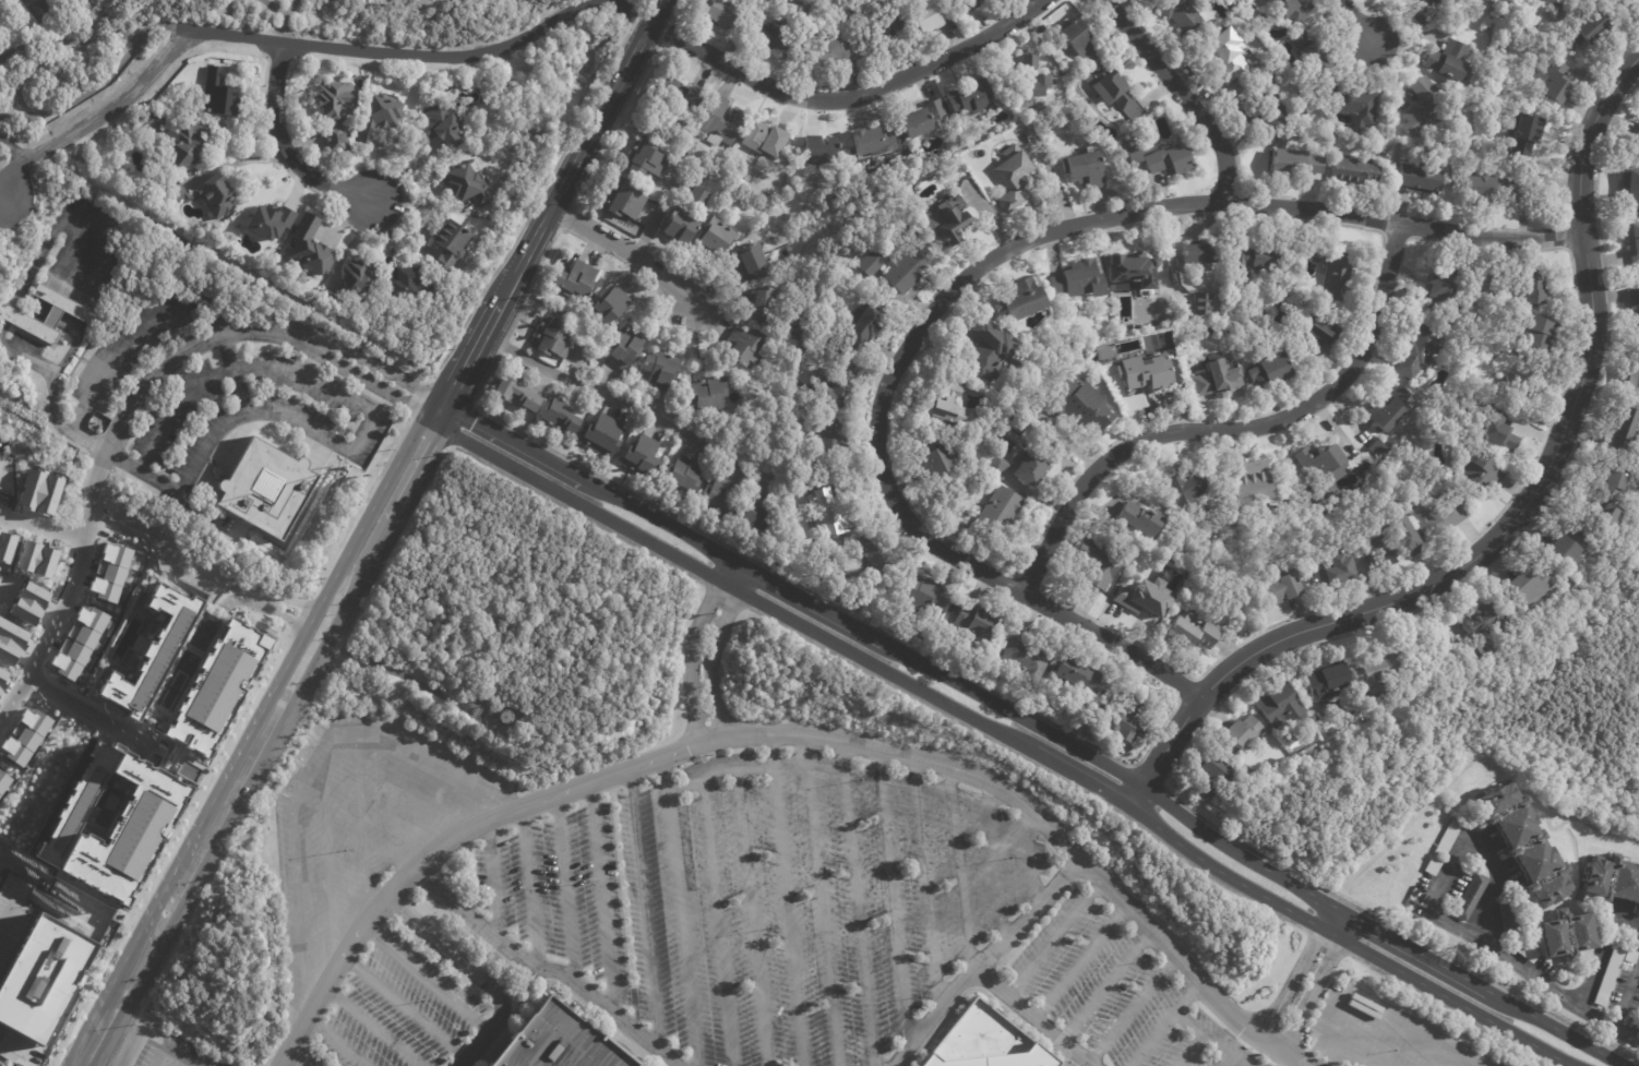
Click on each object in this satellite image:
building: (1431, 2)
building: (1615, 2)
building: (969, 4)
building: (1283, 9)
building: (718, 13)
building: (929, 15)
building: (1184, 17)
building: (1419, 17)
road: (1356, 20)
building: (876, 24)
building: (887, 24)
road: (165, 28)
building: (1580, 33)
building: (1077, 38)
road: (68, 39)
building: (774, 39)
road: (302, 45)
building: (830, 51)
building: (1224, 53)
building: (1308, 56)
building: (1446, 60)
building: (1028, 77)
building: (1550, 81)
building: (1111, 91)
road: (1181, 92)
road: (82, 94)
building: (223, 95)
road: (848, 95)
building: (967, 96)
building: (685, 99)
building: (1352, 105)
building: (1428, 106)
building: (338, 109)
building: (1268, 110)
building: (383, 118)
building: (918, 118)
building: (723, 122)
building: (147, 127)
building: (443, 127)
building: (1405, 129)
building: (1521, 131)
building: (1636, 136)
building: (768, 139)
building: (864, 141)
building: (189, 144)
road: (284, 145)
road: (13, 149)
building: (1135, 149)
building: (824, 151)
building: (1168, 159)
building: (648, 160)
building: (1305, 165)
building: (1082, 169)
building: (1353, 172)
building: (1419, 178)
building: (1013, 180)
building: (470, 184)
building: (1483, 189)
building: (1629, 189)
road: (2, 193)
building: (208, 195)
building: (702, 199)
building: (627, 200)
road: (560, 206)
building: (272, 221)
building: (943, 224)
building: (682, 227)
building: (717, 238)
building: (1632, 242)
building: (451, 247)
building: (311, 249)
road: (622, 250)
building: (1194, 256)
building: (1248, 256)
building: (751, 264)
building: (893, 265)
building: (1329, 266)
building: (1125, 270)
road: (969, 273)
building: (360, 277)
building: (578, 280)
building: (1075, 280)
building: (407, 282)
building: (1531, 289)
building: (1438, 294)
building: (1020, 298)
building: (331, 302)
building: (1200, 304)
building: (1634, 304)
building: (763, 306)
building: (611, 308)
building: (49, 314)
building: (859, 325)
building: (1321, 330)
building: (798, 332)
building: (552, 338)
building: (1530, 338)
road: (123, 343)
building: (629, 348)
building: (746, 349)
building: (983, 350)
building: (1422, 351)
building: (1268, 370)
building: (662, 372)
building: (1145, 373)
building: (1213, 380)
building: (1630, 380)
building: (1523, 383)
road: (585, 388)
building: (837, 390)
building: (518, 392)
building: (710, 394)
road: (134, 397)
building: (943, 406)
road: (171, 407)
building: (1077, 407)
building: (1390, 408)
parking lot: (247, 411)
building: (561, 416)
road: (1232, 429)
building: (1618, 429)
building: (1495, 433)
building: (607, 434)
building: (823, 434)
road: (359, 436)
building: (1380, 451)
building: (644, 457)
building: (928, 459)
building: (713, 462)
road: (192, 465)
building: (994, 465)
building: (1321, 466)
building: (1024, 467)
building: (685, 475)
building: (1475, 475)
building: (1251, 484)
building: (1607, 486)
building: (267, 488)
building: (1185, 490)
building: (40, 492)
building: (791, 493)
building: (720, 496)
building: (996, 511)
building: (761, 513)
building: (822, 515)
building: (1438, 518)
building: (1602, 518)
road: (1514, 520)
building: (1136, 522)
road: (43, 526)
building: (1393, 542)
building: (7, 547)
building: (1562, 548)
building: (36, 559)
building: (872, 559)
building: (1094, 564)
building: (110, 573)
building: (1332, 573)
building: (1526, 587)
building: (1275, 590)
road: (241, 599)
building: (923, 599)
building: (1147, 601)
building: (28, 603)
road: (265, 603)
building: (1482, 619)
building: (972, 624)
building: (1186, 634)
building: (11, 642)
building: (79, 642)
road: (690, 649)
road: (713, 651)
building: (1476, 652)
building: (1022, 657)
building: (1423, 657)
building: (177, 664)
building: (1376, 672)
building: (3, 678)
building: (1074, 678)
building: (1324, 682)
building: (1279, 705)
road: (87, 711)
building: (491, 711)
road: (1039, 726)
building: (1121, 726)
building: (1241, 731)
road: (259, 734)
road: (781, 734)
road: (1008, 735)
building: (25, 736)
road: (391, 741)
road: (769, 752)
road: (666, 775)
road: (718, 775)
building: (1209, 779)
road: (466, 803)
road: (431, 807)
road: (395, 812)
building: (112, 822)
parking lot: (360, 822)
road: (358, 828)
building: (1451, 831)
building: (1522, 843)
building: (1440, 850)
road: (1455, 850)
road: (1029, 857)
road: (326, 858)
road: (13, 862)
road: (994, 864)
building: (1432, 865)
road: (959, 874)
building: (1612, 881)
road: (492, 882)
road: (926, 884)
road: (528, 887)
road: (565, 895)
building: (1469, 897)
road: (892, 898)
parking lot: (767, 900)
road: (601, 901)
road: (821, 901)
road: (857, 903)
road: (645, 912)
road: (298, 913)
building: (1507, 917)
road: (786, 918)
road: (752, 919)
road: (717, 922)
road: (682, 929)
building: (1566, 935)
road: (1052, 939)
road: (1600, 945)
building: (1630, 950)
building: (1524, 951)
road: (984, 962)
road: (1078, 963)
building: (38, 969)
road: (542, 969)
road: (471, 972)
road: (1293, 972)
building: (1608, 974)
road: (427, 981)
road: (1317, 985)
road: (1103, 987)
road: (1626, 992)
parking lot: (1118, 994)
road: (1563, 994)
road: (1183, 998)
parking lot: (398, 1009)
road: (407, 1009)
road: (1132, 1011)
road: (1033, 1019)
road: (1332, 1021)
road: (372, 1027)
parking lot: (1380, 1034)
road: (1399, 1034)
road: (1150, 1040)
road: (1204, 1040)
road: (336, 1042)
building: (555, 1042)
building: (983, 1044)
road: (1189, 1052)
road: (1353, 1052)
parking lot: (172, 1053)
road: (300, 1056)
road: (158, 1057)
road: (178, 1057)
road: (1224, 1063)

